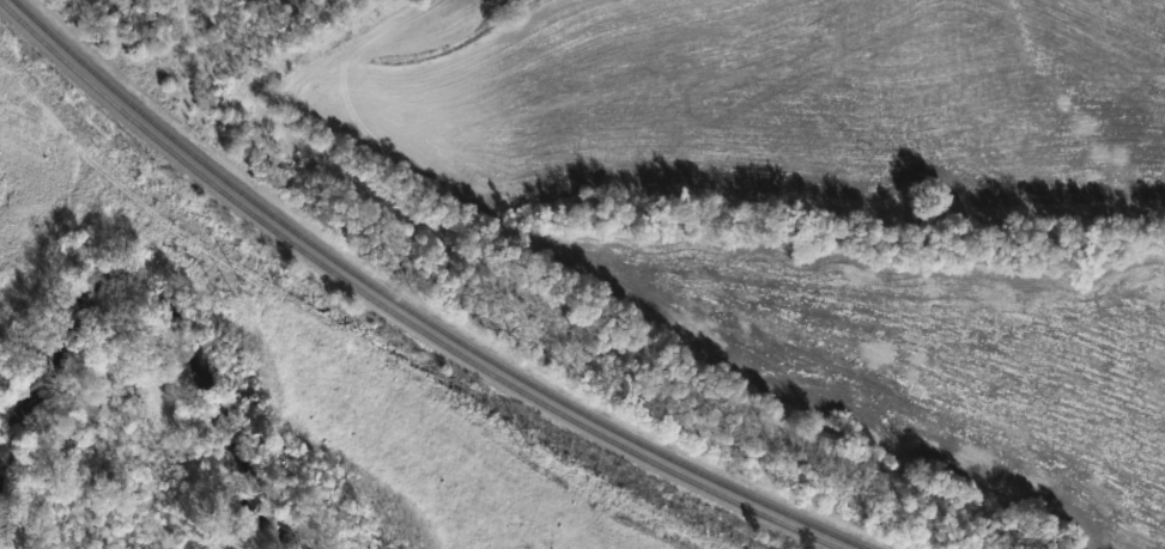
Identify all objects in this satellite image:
railway: (398, 313)
railway: (419, 315)
road: (129, 331)

